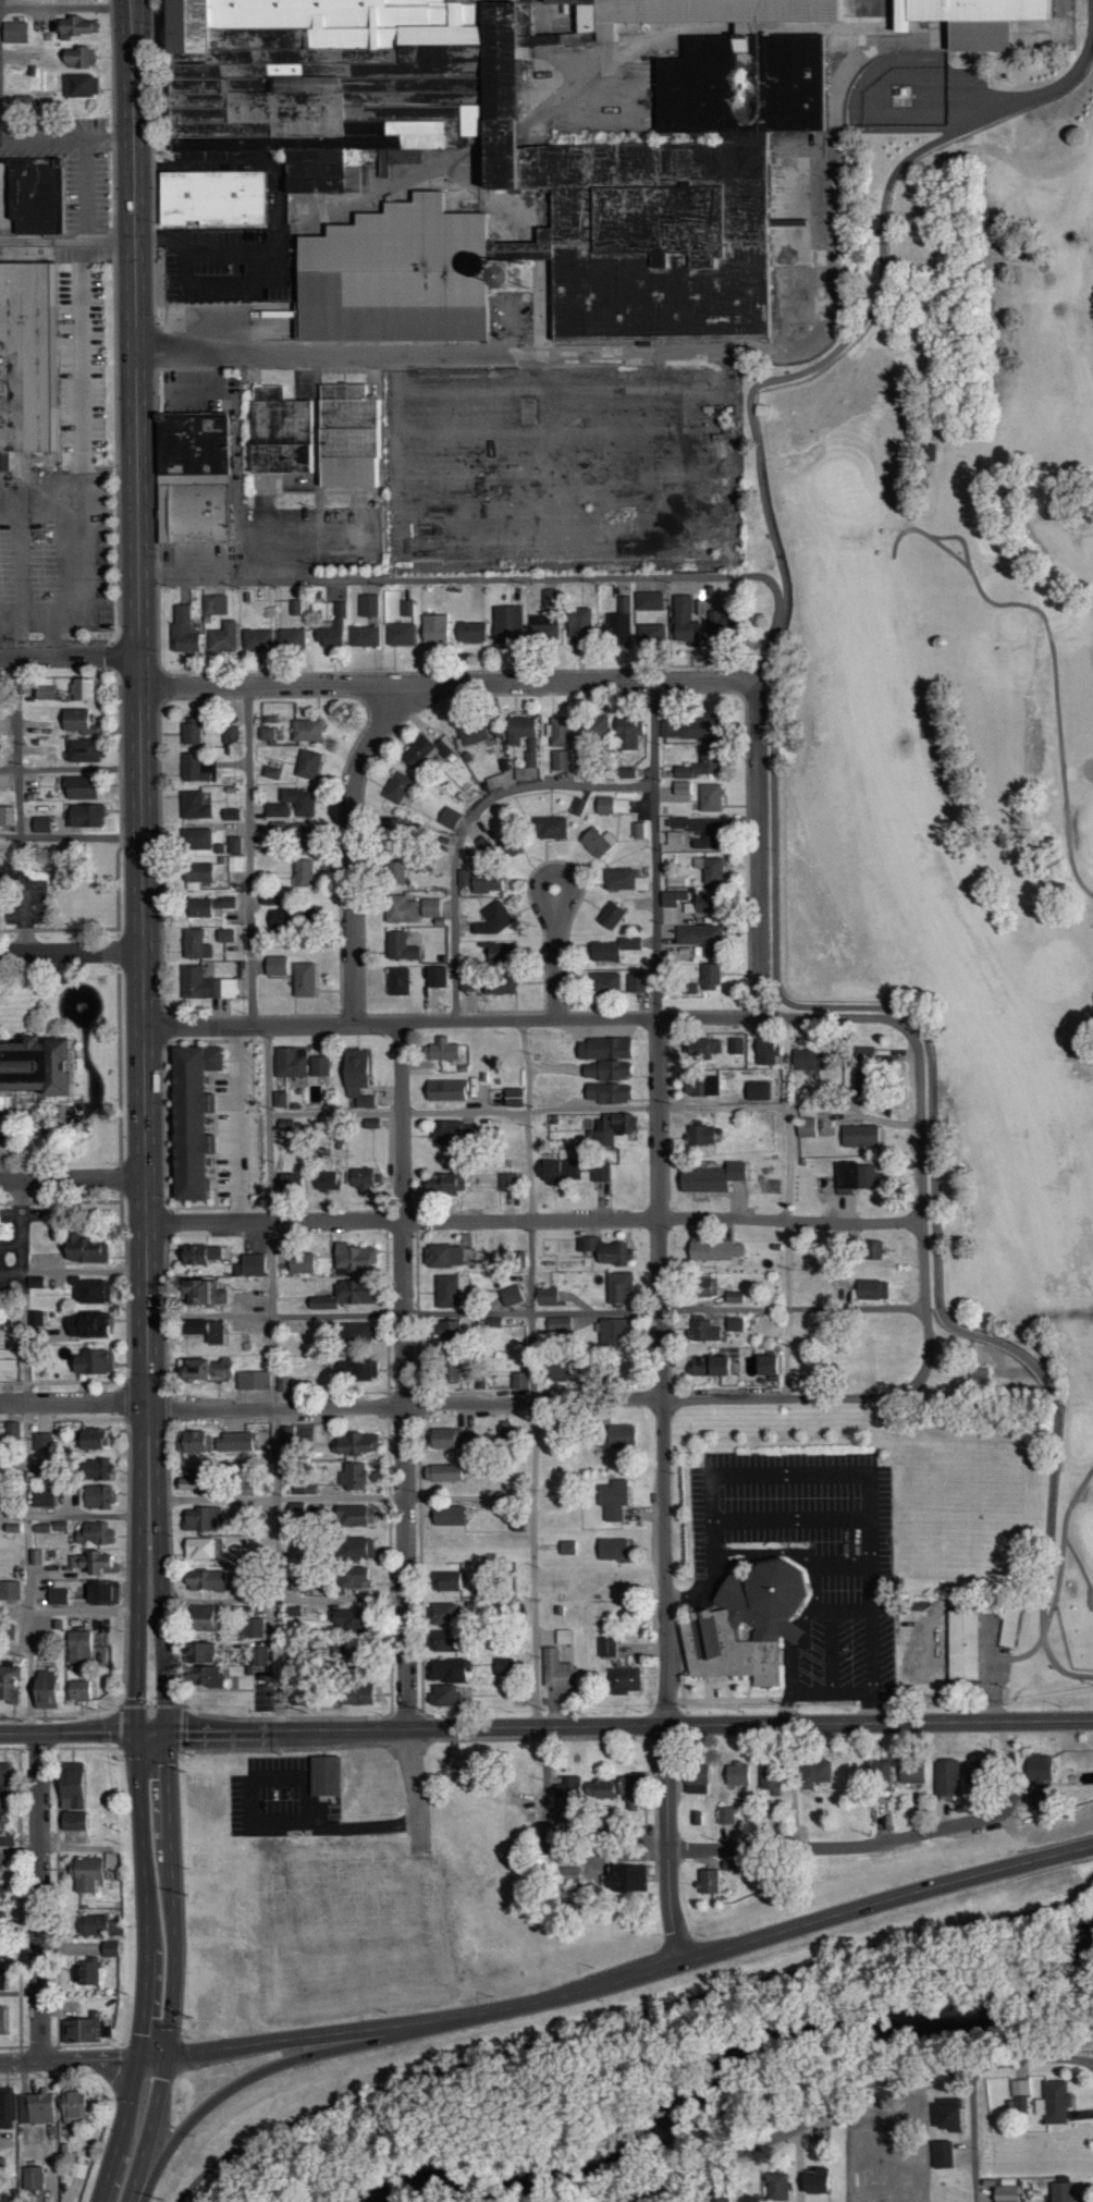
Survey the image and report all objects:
road: (0, 5)
road: (65, 7)
building: (72, 27)
building: (14, 34)
building: (74, 58)
building: (78, 86)
road: (840, 89)
building: (21, 102)
road: (66, 136)
road: (1051, 138)
building: (519, 148)
building: (33, 195)
building: (216, 196)
road: (67, 238)
road: (135, 329)
road: (463, 354)
road: (909, 354)
building: (33, 355)
building: (282, 429)
building: (351, 436)
building: (3, 461)
building: (196, 478)
road: (509, 576)
building: (549, 598)
building: (648, 600)
road: (1010, 603)
building: (214, 604)
building: (368, 605)
building: (407, 608)
building: (684, 621)
building: (507, 623)
building: (617, 623)
building: (578, 625)
building: (723, 626)
building: (434, 627)
building: (182, 629)
building: (333, 629)
building: (470, 632)
building: (542, 632)
building: (400, 634)
building: (650, 634)
building: (365, 636)
building: (222, 637)
building: (257, 639)
building: (291, 639)
road: (70, 658)
road: (446, 683)
building: (84, 689)
building: (44, 692)
building: (76, 721)
park: (967, 726)
building: (689, 727)
building: (593, 729)
building: (305, 730)
building: (191, 731)
building: (520, 731)
building: (470, 732)
building: (560, 732)
building: (267, 733)
building: (627, 733)
building: (230, 734)
building: (83, 749)
building: (422, 751)
building: (560, 760)
building: (308, 764)
building: (699, 764)
road: (71, 768)
building: (196, 768)
building: (526, 768)
building: (269, 772)
building: (79, 787)
building: (681, 787)
building: (398, 788)
building: (709, 797)
building: (291, 804)
road: (17, 805)
building: (192, 805)
building: (611, 806)
building: (230, 813)
building: (84, 815)
building: (7, 816)
building: (447, 818)
road: (1066, 821)
road: (468, 823)
building: (38, 824)
building: (195, 824)
building: (551, 827)
building: (405, 829)
building: (637, 830)
building: (287, 831)
building: (711, 834)
road: (71, 835)
building: (673, 837)
building: (195, 839)
building: (597, 842)
building: (483, 843)
building: (234, 845)
road: (353, 848)
road: (653, 849)
road: (759, 849)
road: (774, 849)
road: (249, 855)
building: (234, 864)
building: (709, 869)
building: (394, 871)
building: (300, 872)
building: (197, 874)
building: (624, 879)
road: (10, 880)
building: (675, 880)
building: (486, 882)
building: (672, 897)
building: (700, 904)
building: (206, 906)
building: (430, 907)
building: (400, 909)
building: (610, 915)
building: (491, 918)
building: (225, 935)
building: (700, 939)
building: (195, 944)
building: (398, 946)
building: (611, 949)
road: (72, 952)
building: (500, 953)
road: (557, 954)
building: (274, 965)
building: (434, 977)
building: (709, 977)
building: (302, 979)
building: (396, 981)
building: (616, 982)
building: (204, 984)
building: (498, 984)
building: (688, 988)
fountain: (79, 1005)
road: (527, 1019)
building: (701, 1048)
building: (602, 1049)
building: (440, 1050)
building: (766, 1053)
building: (862, 1056)
building: (809, 1060)
building: (290, 1062)
building: (38, 1065)
building: (320, 1066)
building: (355, 1079)
building: (606, 1081)
building: (700, 1086)
road: (145, 1090)
building: (445, 1090)
building: (756, 1091)
building: (512, 1098)
building: (278, 1100)
road: (527, 1110)
building: (189, 1117)
building: (370, 1123)
building: (806, 1127)
building: (613, 1128)
building: (449, 1133)
building: (1, 1135)
building: (699, 1135)
building: (859, 1136)
building: (558, 1172)
building: (599, 1172)
building: (361, 1174)
building: (855, 1175)
road: (73, 1178)
building: (710, 1178)
building: (326, 1180)
building: (287, 1183)
building: (506, 1183)
building: (443, 1185)
road: (923, 1201)
road: (787, 1208)
road: (536, 1220)
building: (81, 1249)
building: (714, 1249)
building: (870, 1250)
building: (605, 1251)
building: (193, 1256)
building: (443, 1256)
building: (351, 1258)
building: (518, 1258)
building: (299, 1263)
building: (249, 1265)
road: (12, 1271)
building: (704, 1287)
building: (617, 1288)
building: (870, 1289)
building: (449, 1290)
building: (89, 1292)
building: (199, 1294)
building: (343, 1296)
building: (511, 1296)
building: (546, 1296)
road: (538, 1311)
building: (35, 1318)
building: (85, 1324)
building: (558, 1324)
building: (733, 1324)
building: (701, 1330)
building: (204, 1331)
building: (443, 1332)
building: (613, 1333)
building: (354, 1334)
building: (91, 1362)
building: (765, 1366)
building: (707, 1367)
building: (205, 1369)
building: (354, 1370)
building: (556, 1370)
building: (449, 1373)
road: (405, 1375)
road: (275, 1378)
building: (253, 1381)
building: (518, 1381)
road: (465, 1405)
building: (506, 1431)
building: (286, 1435)
building: (617, 1436)
building: (445, 1439)
building: (90, 1440)
building: (40, 1442)
building: (194, 1442)
building: (231, 1442)
building: (352, 1444)
road: (26, 1456)
building: (94, 1469)
road: (835, 1471)
building: (441, 1472)
building: (353, 1477)
building: (189, 1479)
road: (665, 1491)
road: (470, 1496)
building: (96, 1497)
road: (279, 1497)
road: (533, 1497)
building: (41, 1498)
building: (611, 1500)
road: (74, 1514)
building: (352, 1516)
building: (446, 1517)
building: (201, 1520)
building: (94, 1533)
road: (1065, 1533)
building: (566, 1547)
building: (196, 1549)
building: (354, 1550)
building: (610, 1550)
road: (790, 1551)
parking lot: (806, 1552)
building: (95, 1564)
building: (353, 1578)
building: (204, 1581)
building: (445, 1581)
road: (1057, 1587)
building: (10, 1591)
building: (97, 1594)
building: (57, 1597)
road: (283, 1600)
road: (71, 1606)
building: (442, 1614)
building: (198, 1618)
building: (344, 1619)
building: (751, 1620)
road: (140, 1627)
road: (160, 1627)
building: (1007, 1628)
building: (253, 1629)
building: (9, 1632)
building: (562, 1638)
building: (441, 1641)
building: (960, 1646)
building: (77, 1651)
building: (337, 1653)
building: (197, 1654)
building: (259, 1656)
building: (615, 1668)
building: (500, 1669)
building: (446, 1671)
building: (556, 1672)
building: (200, 1677)
building: (9, 1681)
building: (44, 1690)
building: (77, 1691)
building: (355, 1695)
road: (627, 1726)
road: (69, 1734)
traffic signals: (139, 1734)
road: (150, 1734)
traffic signals: (162, 1734)
building: (980, 1770)
building: (813, 1771)
building: (876, 1771)
building: (910, 1772)
building: (330, 1774)
building: (735, 1774)
road: (415, 1777)
building: (769, 1778)
building: (695, 1779)
building: (946, 1779)
building: (1037, 1781)
building: (9, 1786)
building: (566, 1788)
building: (78, 1789)
building: (627, 1793)
building: (725, 1814)
building: (79, 1820)
road: (257, 1825)
building: (8, 1839)
road: (21, 1846)
road: (836, 1847)
road: (1091, 1847)
building: (96, 1871)
building: (567, 1877)
building: (623, 1881)
building: (707, 1883)
building: (4, 1895)
road: (42, 1896)
building: (5, 1919)
building: (103, 1924)
building: (115, 1948)
building: (4, 1954)
road: (146, 1970)
road: (172, 1970)
building: (94, 1972)
road: (631, 1978)
building: (5, 1979)
road: (623, 2017)
building: (8, 2019)
building: (89, 2029)
traffic signals: (163, 2055)
traffic signals: (136, 2056)
road: (81, 2058)
road: (262, 2073)
building: (1020, 2095)
road: (848, 2096)
river: (712, 2099)
building: (1053, 2102)
building: (82, 2106)
building: (41, 2107)
building: (11, 2111)
building: (946, 2116)
road: (973, 2134)
building: (941, 2154)
road: (798, 2165)
building: (813, 2180)
building: (774, 2186)
building: (1060, 2191)
building: (1005, 2194)
building: (716, 2195)

